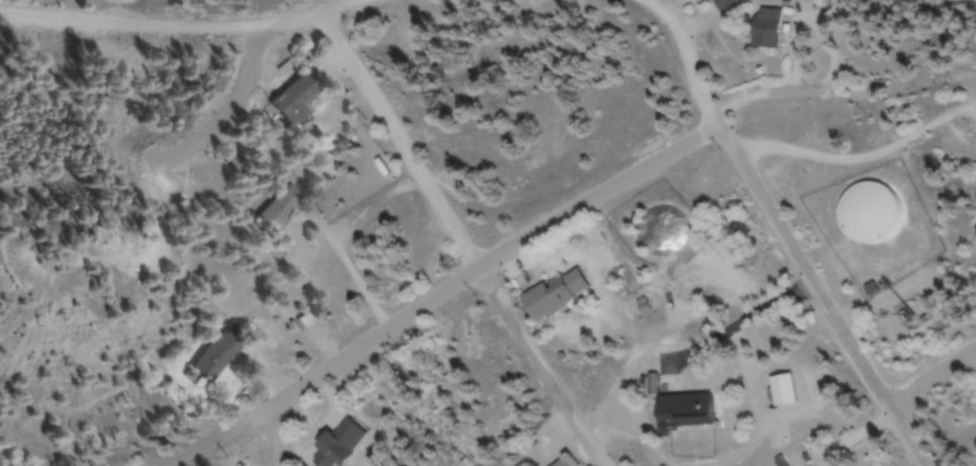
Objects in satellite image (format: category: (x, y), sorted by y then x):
building: (723, 8)
road: (215, 19)
building: (764, 31)
road: (688, 59)
road: (842, 91)
building: (288, 99)
building: (275, 211)
building: (867, 218)
road: (453, 242)
building: (553, 295)
road: (820, 297)
road: (453, 298)
building: (215, 355)
road: (931, 380)
building: (682, 409)
road: (283, 434)
building: (337, 445)
building: (555, 457)

